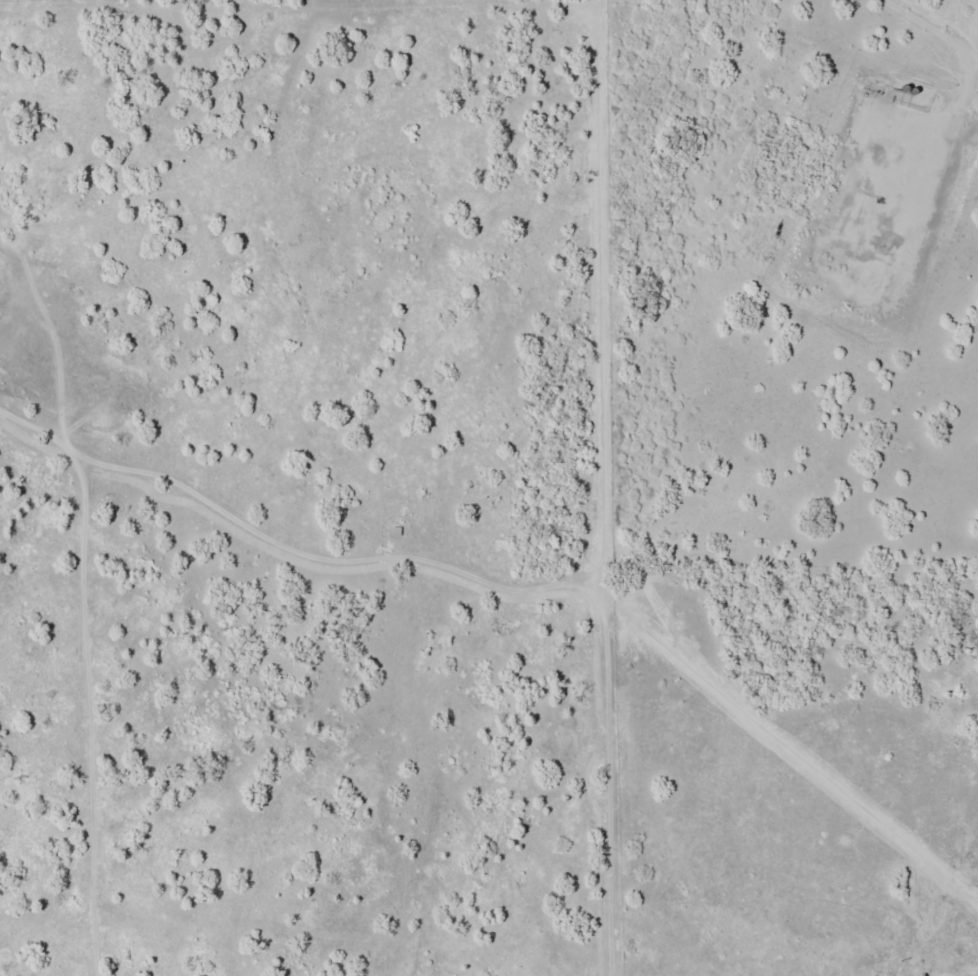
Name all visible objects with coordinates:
road: (927, 27)

